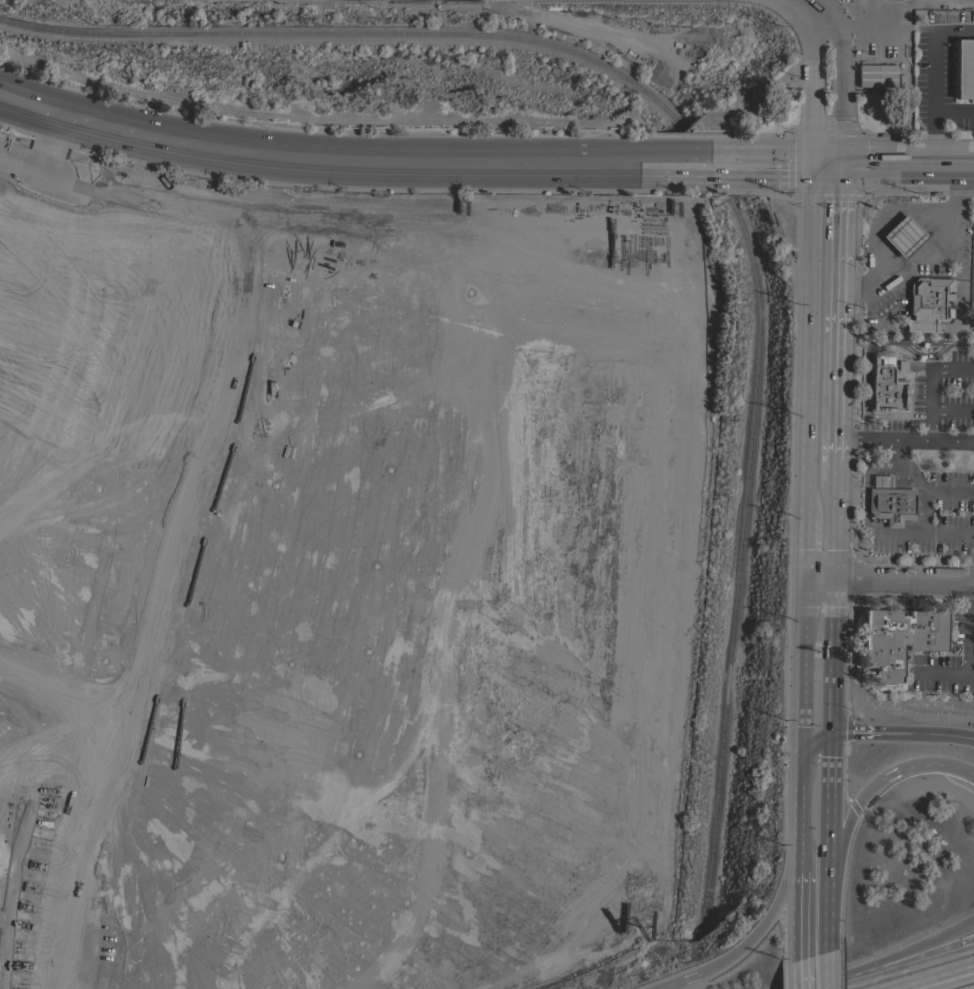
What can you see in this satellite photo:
road: (813, 13)
railway: (362, 33)
road: (931, 67)
building: (875, 75)
building: (959, 81)
road: (837, 90)
road: (809, 92)
road: (34, 113)
road: (102, 132)
road: (905, 149)
traffic signals: (838, 156)
road: (823, 158)
traffic signals: (808, 160)
road: (750, 162)
road: (393, 165)
road: (672, 165)
road: (903, 173)
road: (918, 251)
gas station: (917, 266)
building: (925, 302)
road: (838, 309)
road: (806, 339)
road: (874, 344)
road: (931, 386)
building: (885, 387)
road: (952, 412)
road: (905, 441)
road: (862, 488)
road: (919, 488)
building: (891, 504)
road: (836, 522)
road: (897, 532)
road: (926, 533)
road: (804, 549)
railway: (741, 565)
road: (820, 580)
road: (904, 582)
landfill: (344, 584)
road: (968, 633)
building: (898, 639)
road: (834, 658)
road: (802, 667)
road: (946, 734)
road: (875, 735)
road: (813, 741)
road: (873, 787)
road: (800, 800)
road: (829, 810)
road: (800, 903)
road: (824, 921)
road: (765, 922)
road: (898, 955)
road: (821, 973)
road: (924, 974)
road: (798, 975)
road: (679, 982)

